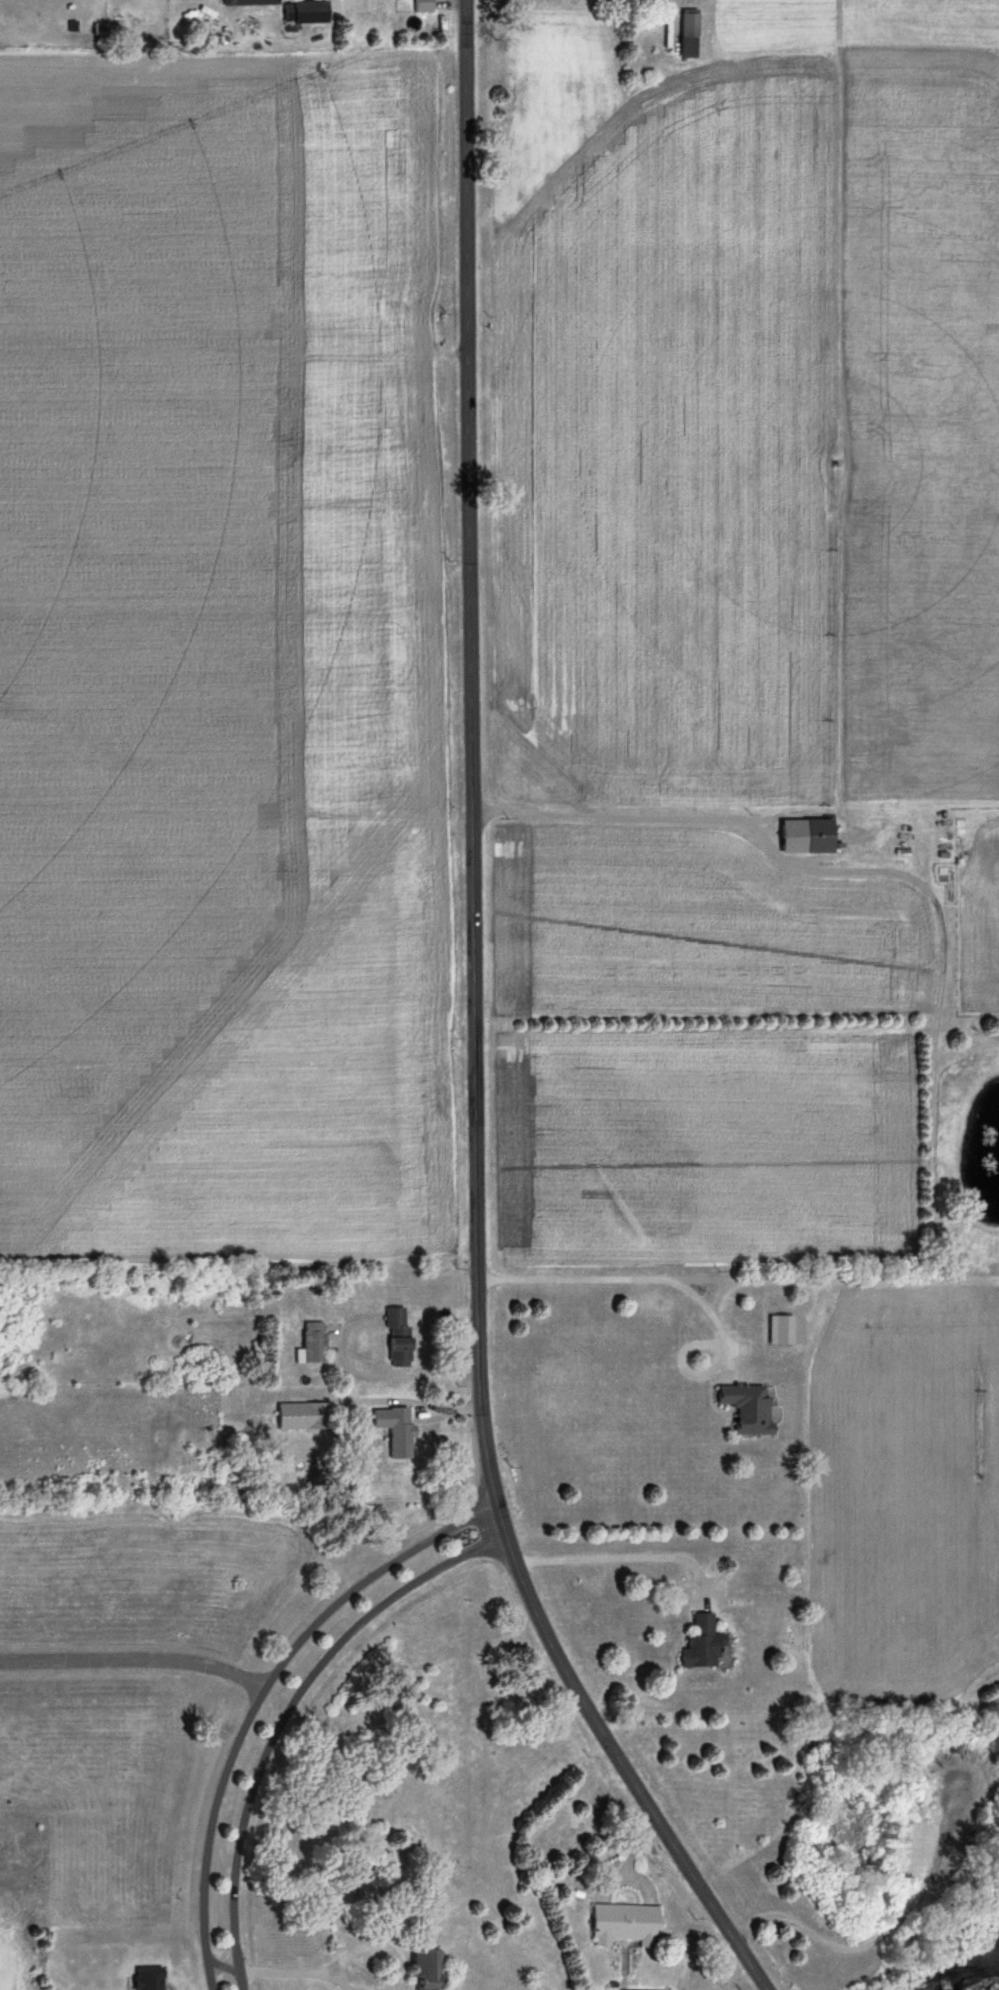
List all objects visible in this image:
building: (247, 2)
building: (420, 6)
building: (302, 13)
building: (688, 25)
crop: (220, 662)
road: (619, 818)
building: (804, 836)
road: (470, 1031)
road: (620, 1280)
building: (391, 1339)
building: (309, 1343)
building: (742, 1408)
building: (297, 1417)
building: (390, 1431)
road: (623, 1558)
building: (699, 1643)
road: (135, 1660)
road: (260, 1696)
road: (285, 1715)
building: (621, 1926)
road: (884, 1932)
park: (45, 1946)
building: (422, 1969)
river: (974, 1977)

